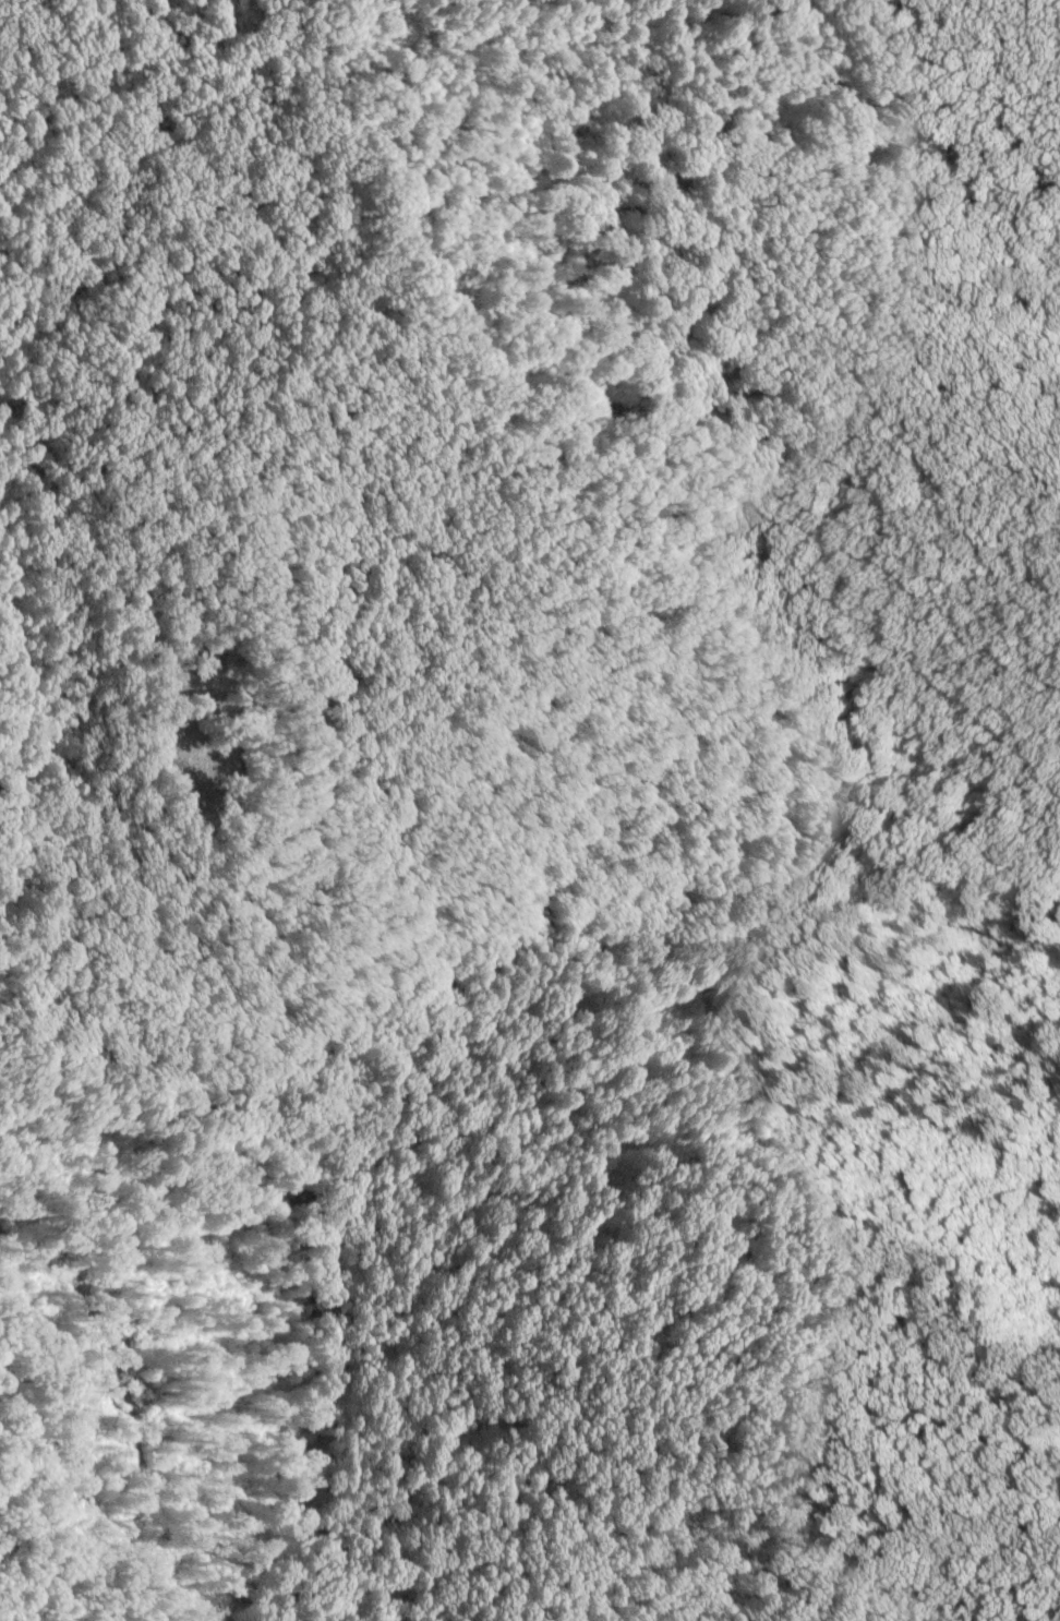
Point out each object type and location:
road: (3, 1241)
road: (125, 1413)

